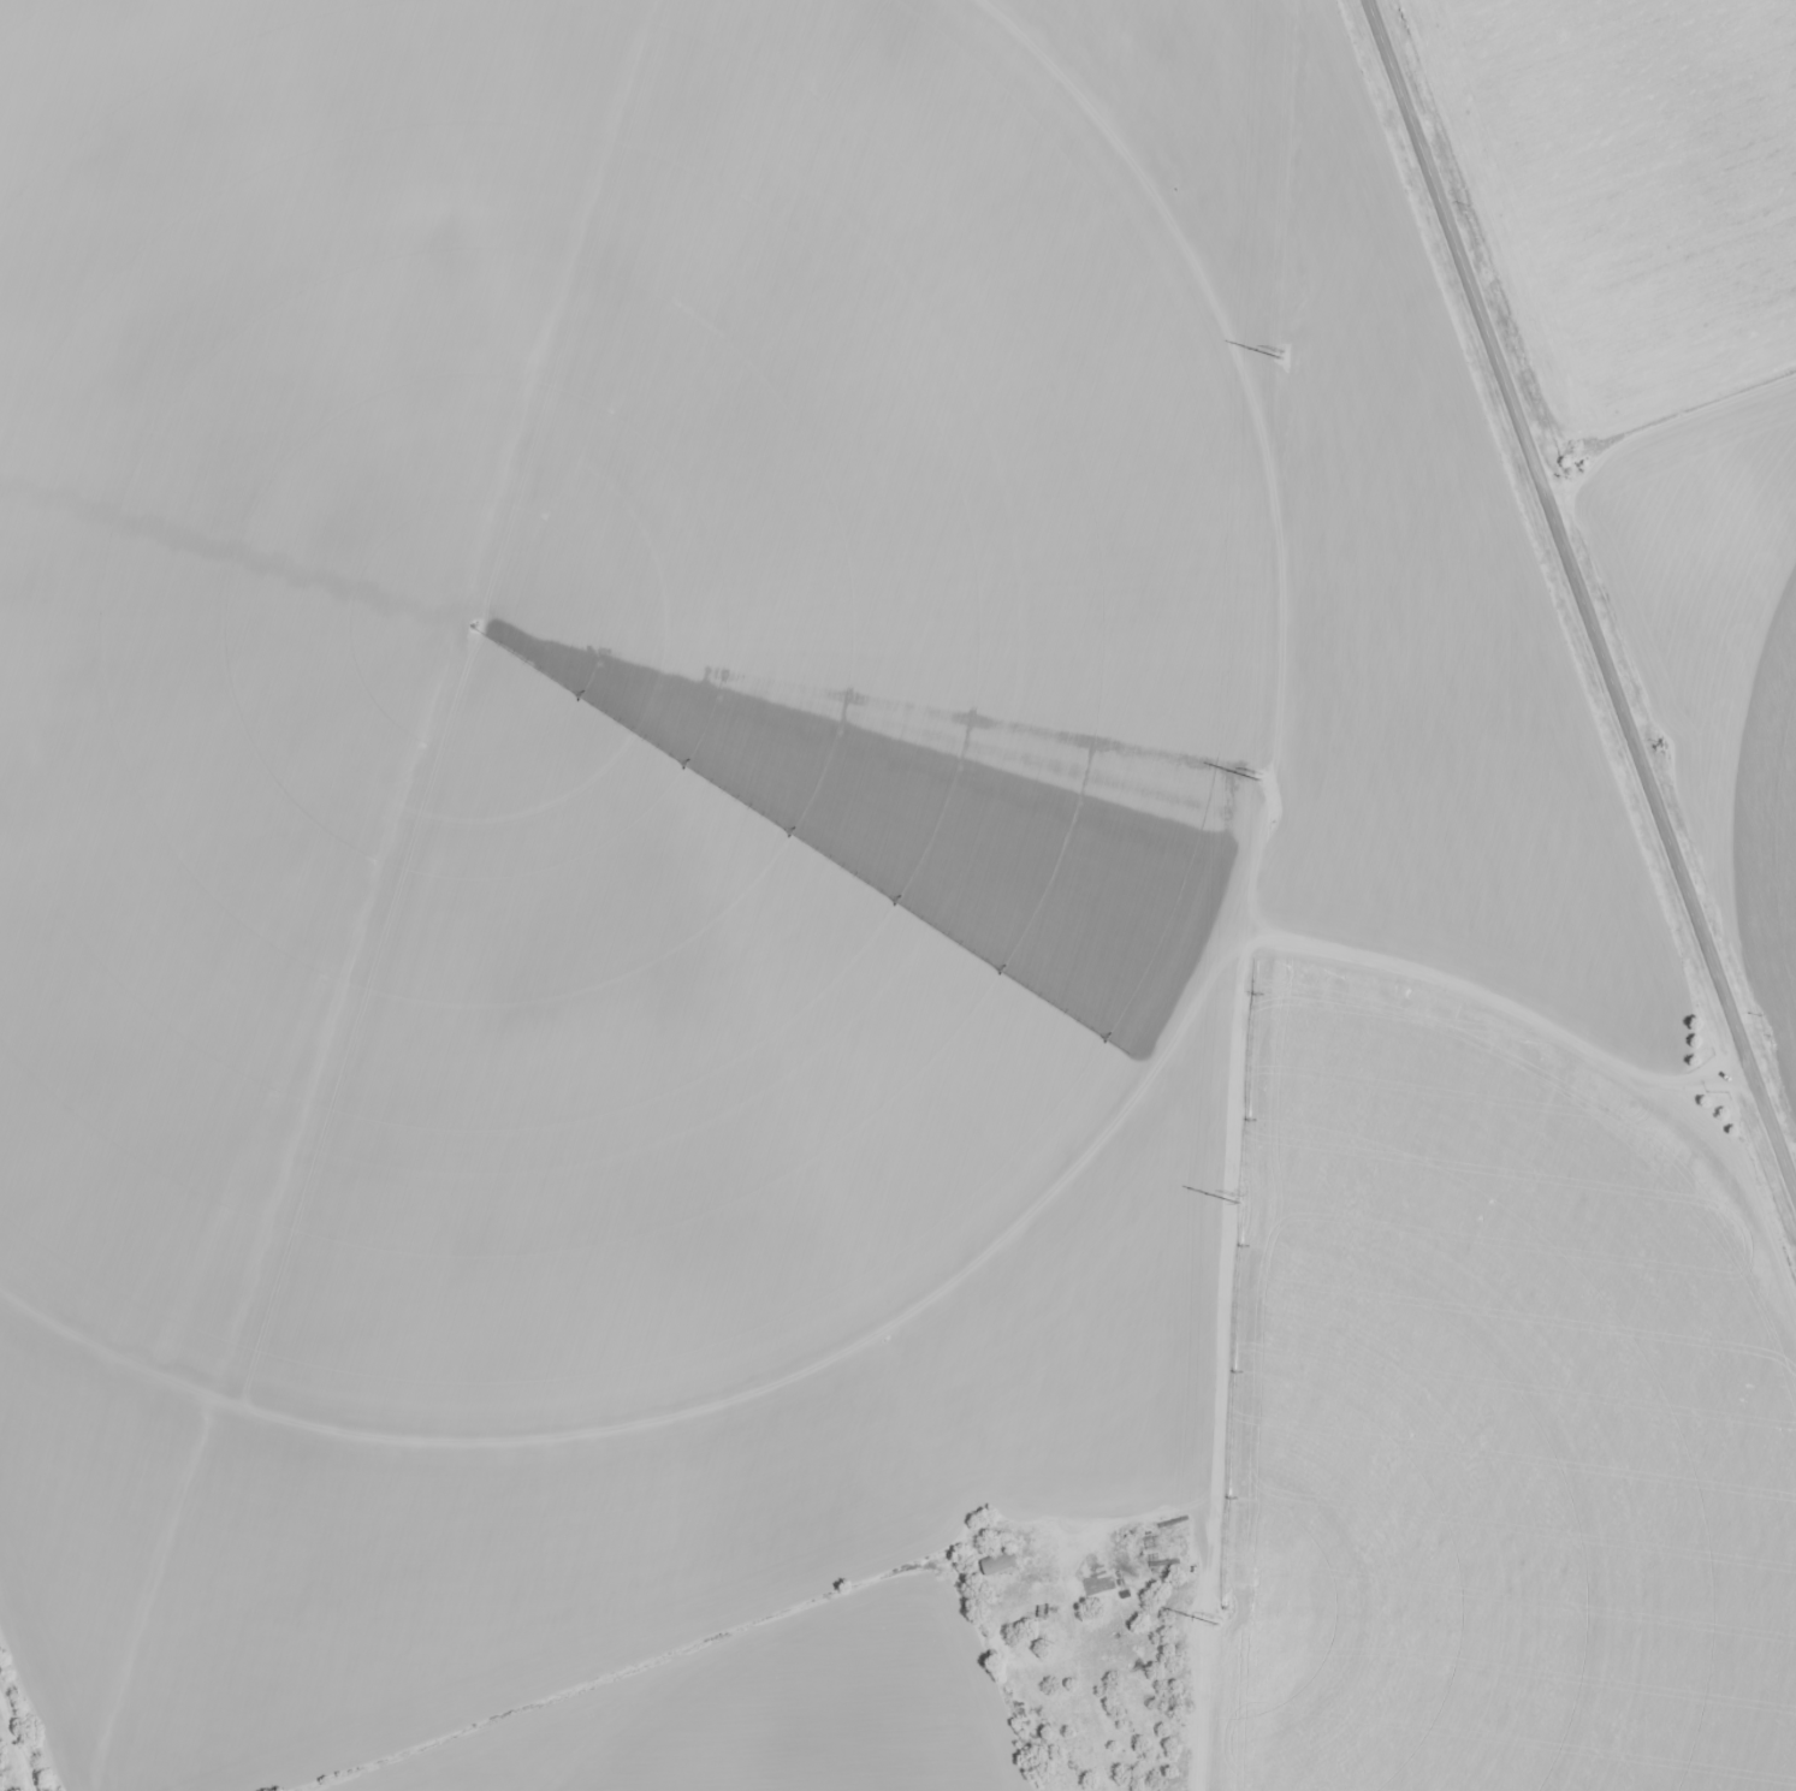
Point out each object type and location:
power tower: (1286, 349)
road: (1582, 593)
power tower: (1263, 772)
power tower: (1240, 1194)
power tower: (1219, 1618)

